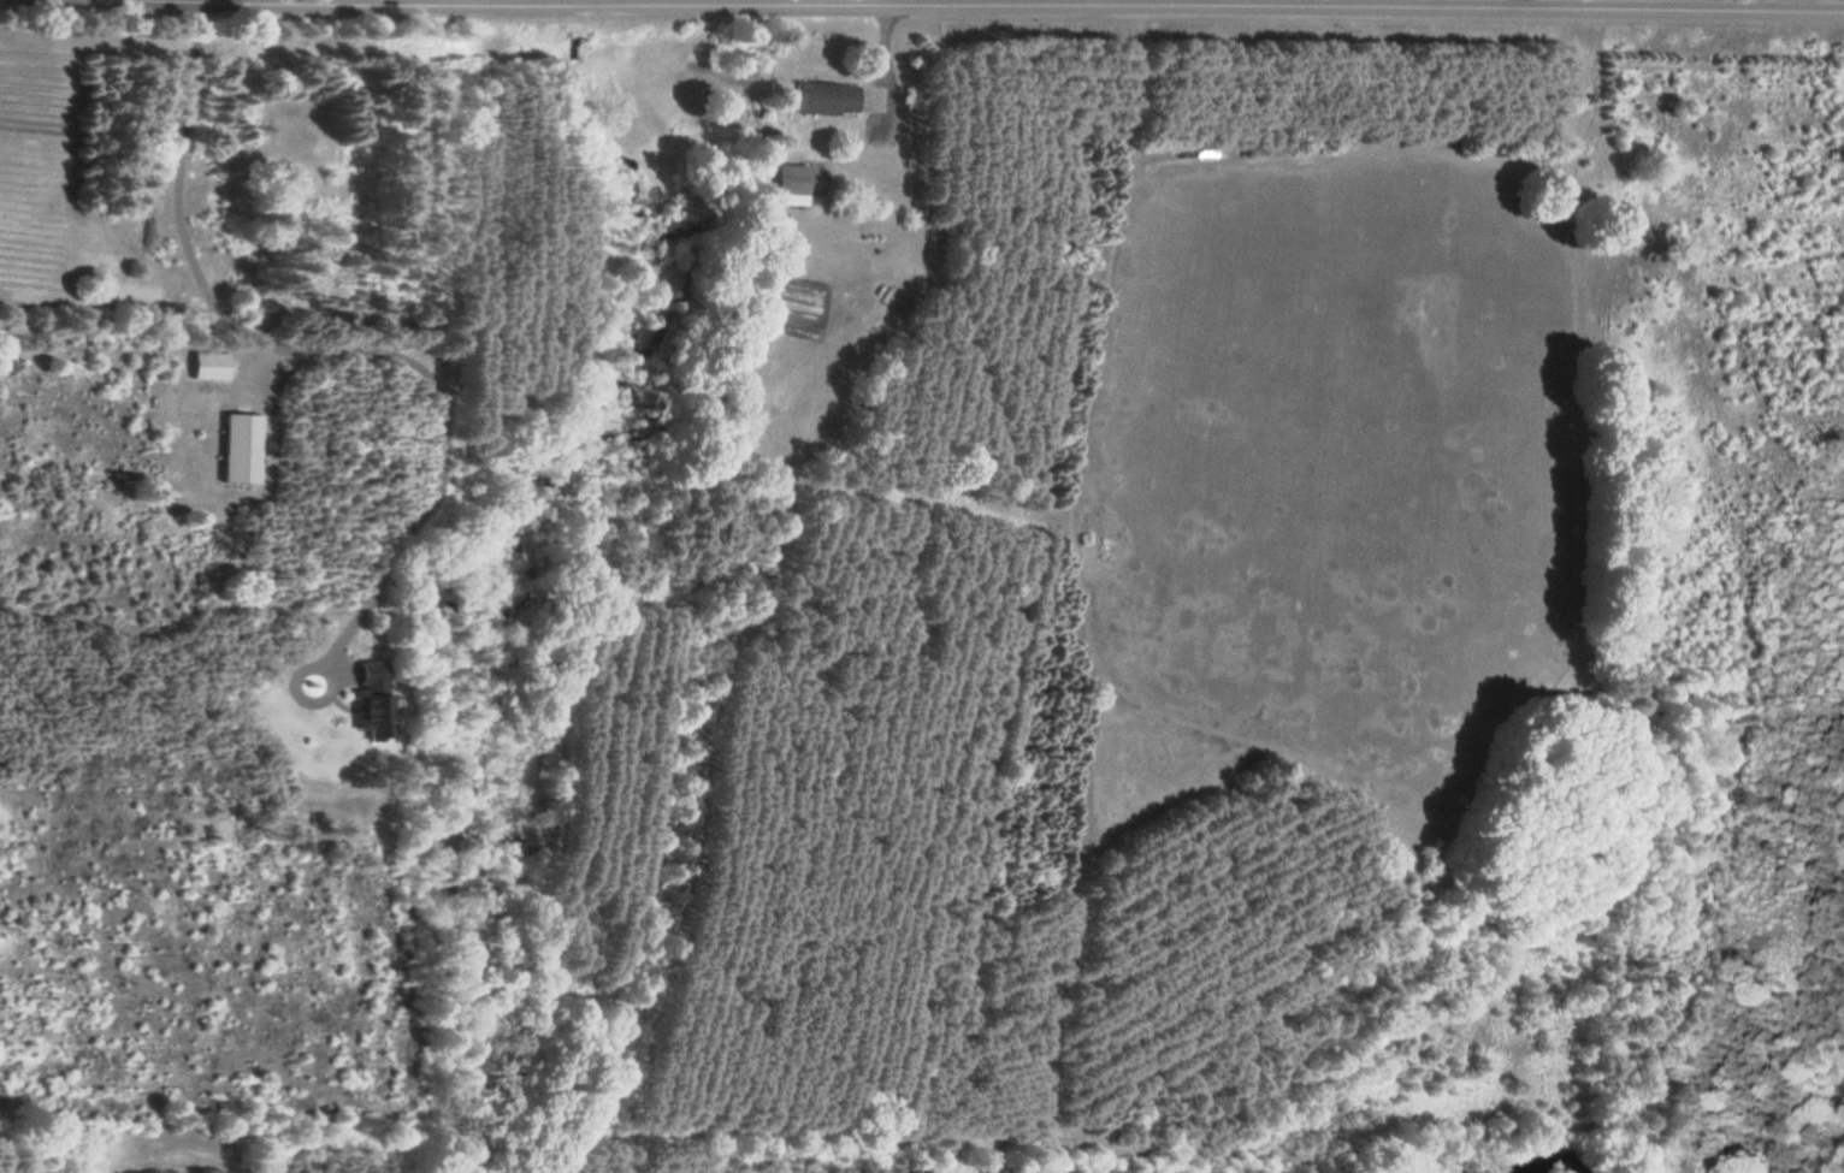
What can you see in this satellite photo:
road: (1142, 6)
building: (817, 99)
building: (784, 185)
river: (1513, 1160)

